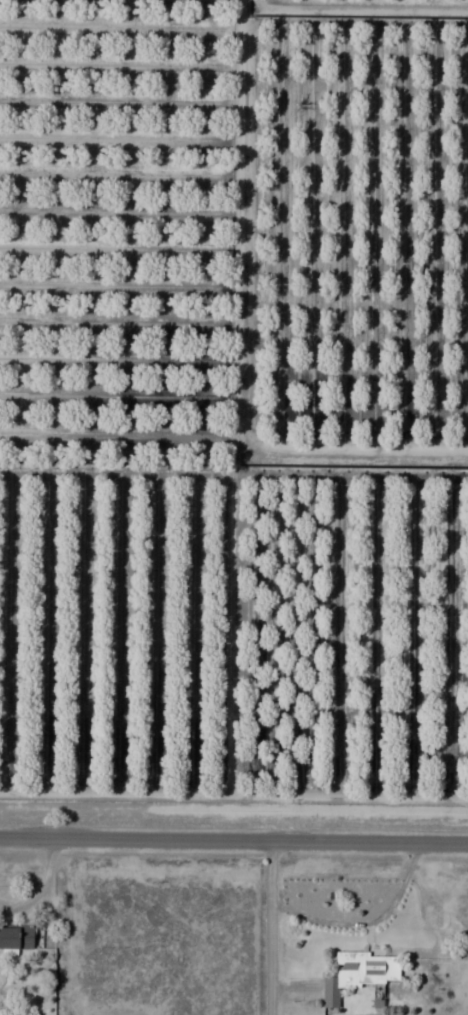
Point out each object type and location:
road: (234, 840)
road: (269, 928)
building: (16, 937)
building: (360, 973)

